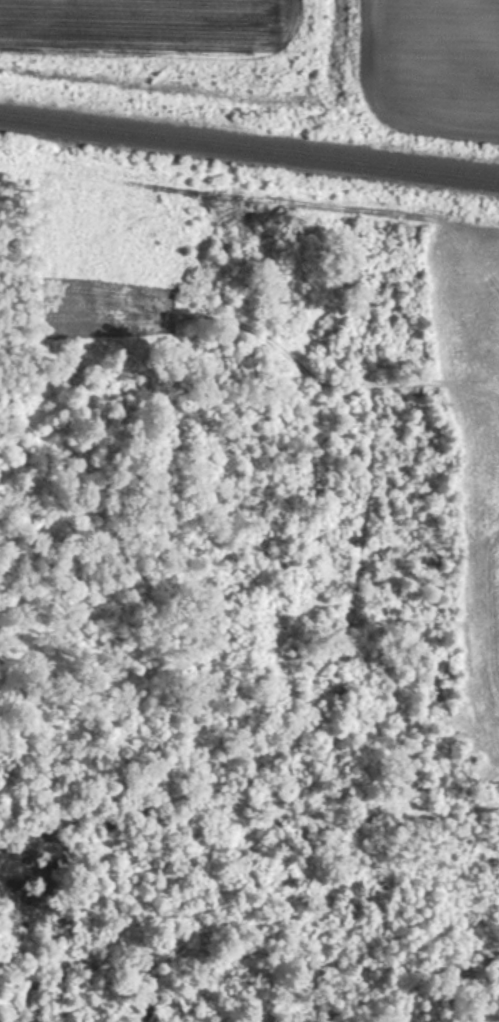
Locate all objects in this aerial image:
railway: (249, 138)
railway: (249, 148)

